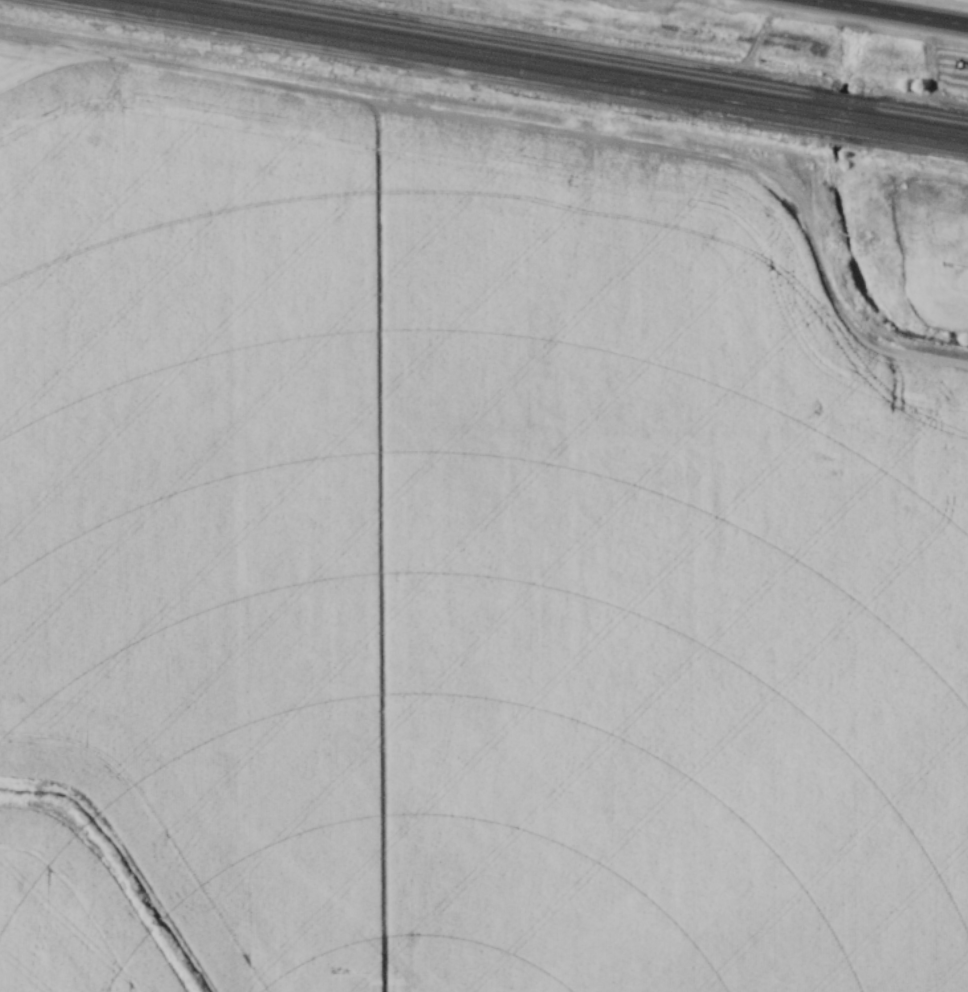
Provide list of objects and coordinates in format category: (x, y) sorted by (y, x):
road: (892, 12)
railway: (609, 60)
railway: (568, 67)
railway: (527, 73)

